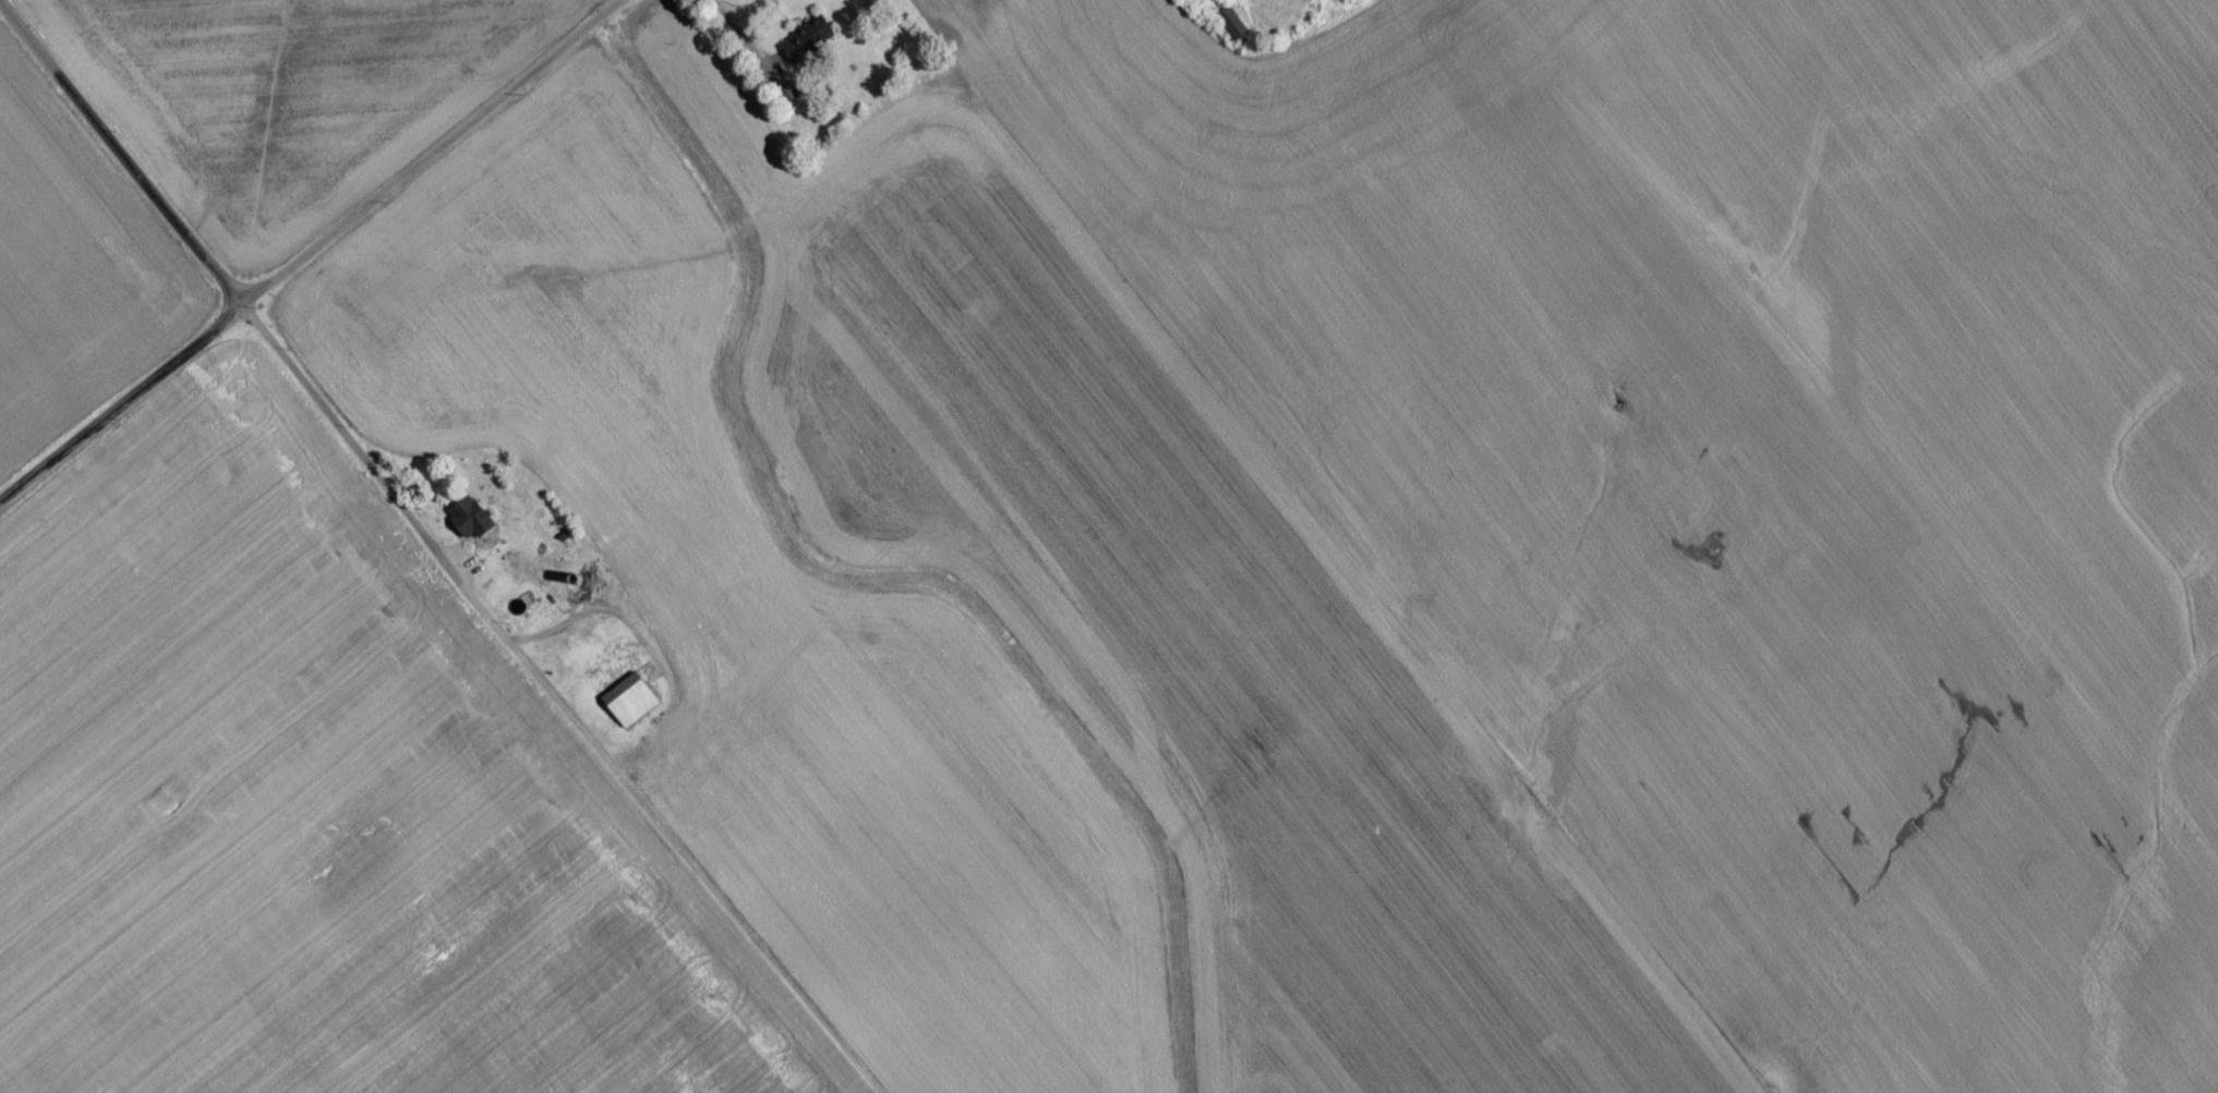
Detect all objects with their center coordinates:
building: (1350, 0)
road: (742, 11)
road: (746, 36)
building: (809, 44)
road: (439, 155)
road: (120, 158)
road: (122, 410)
building: (474, 523)
road: (555, 700)
building: (632, 705)

